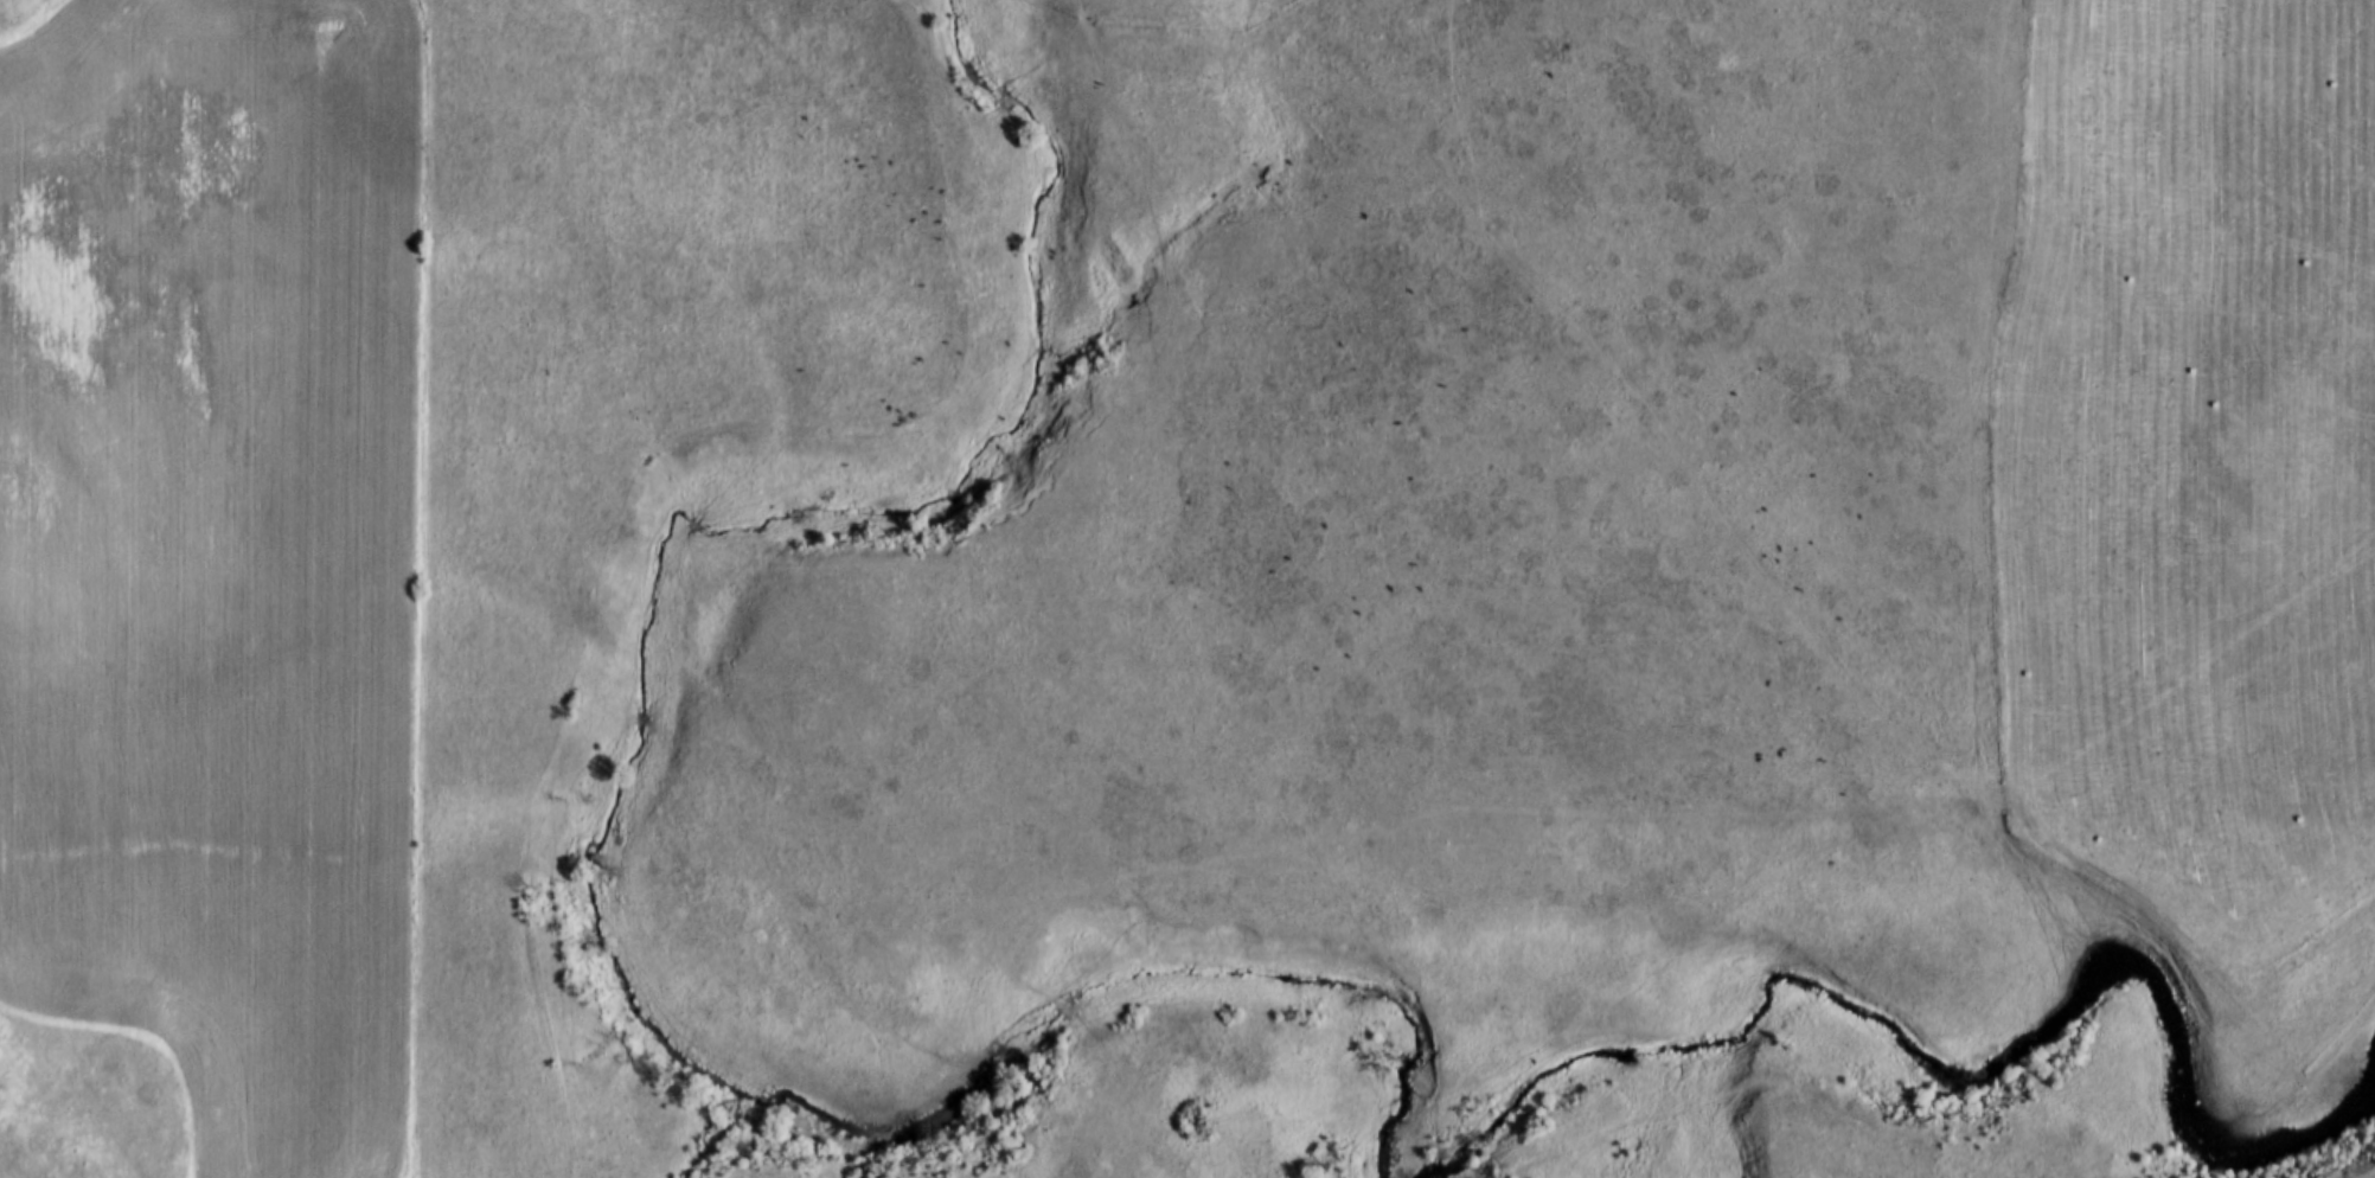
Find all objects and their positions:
road: (2197, 952)

